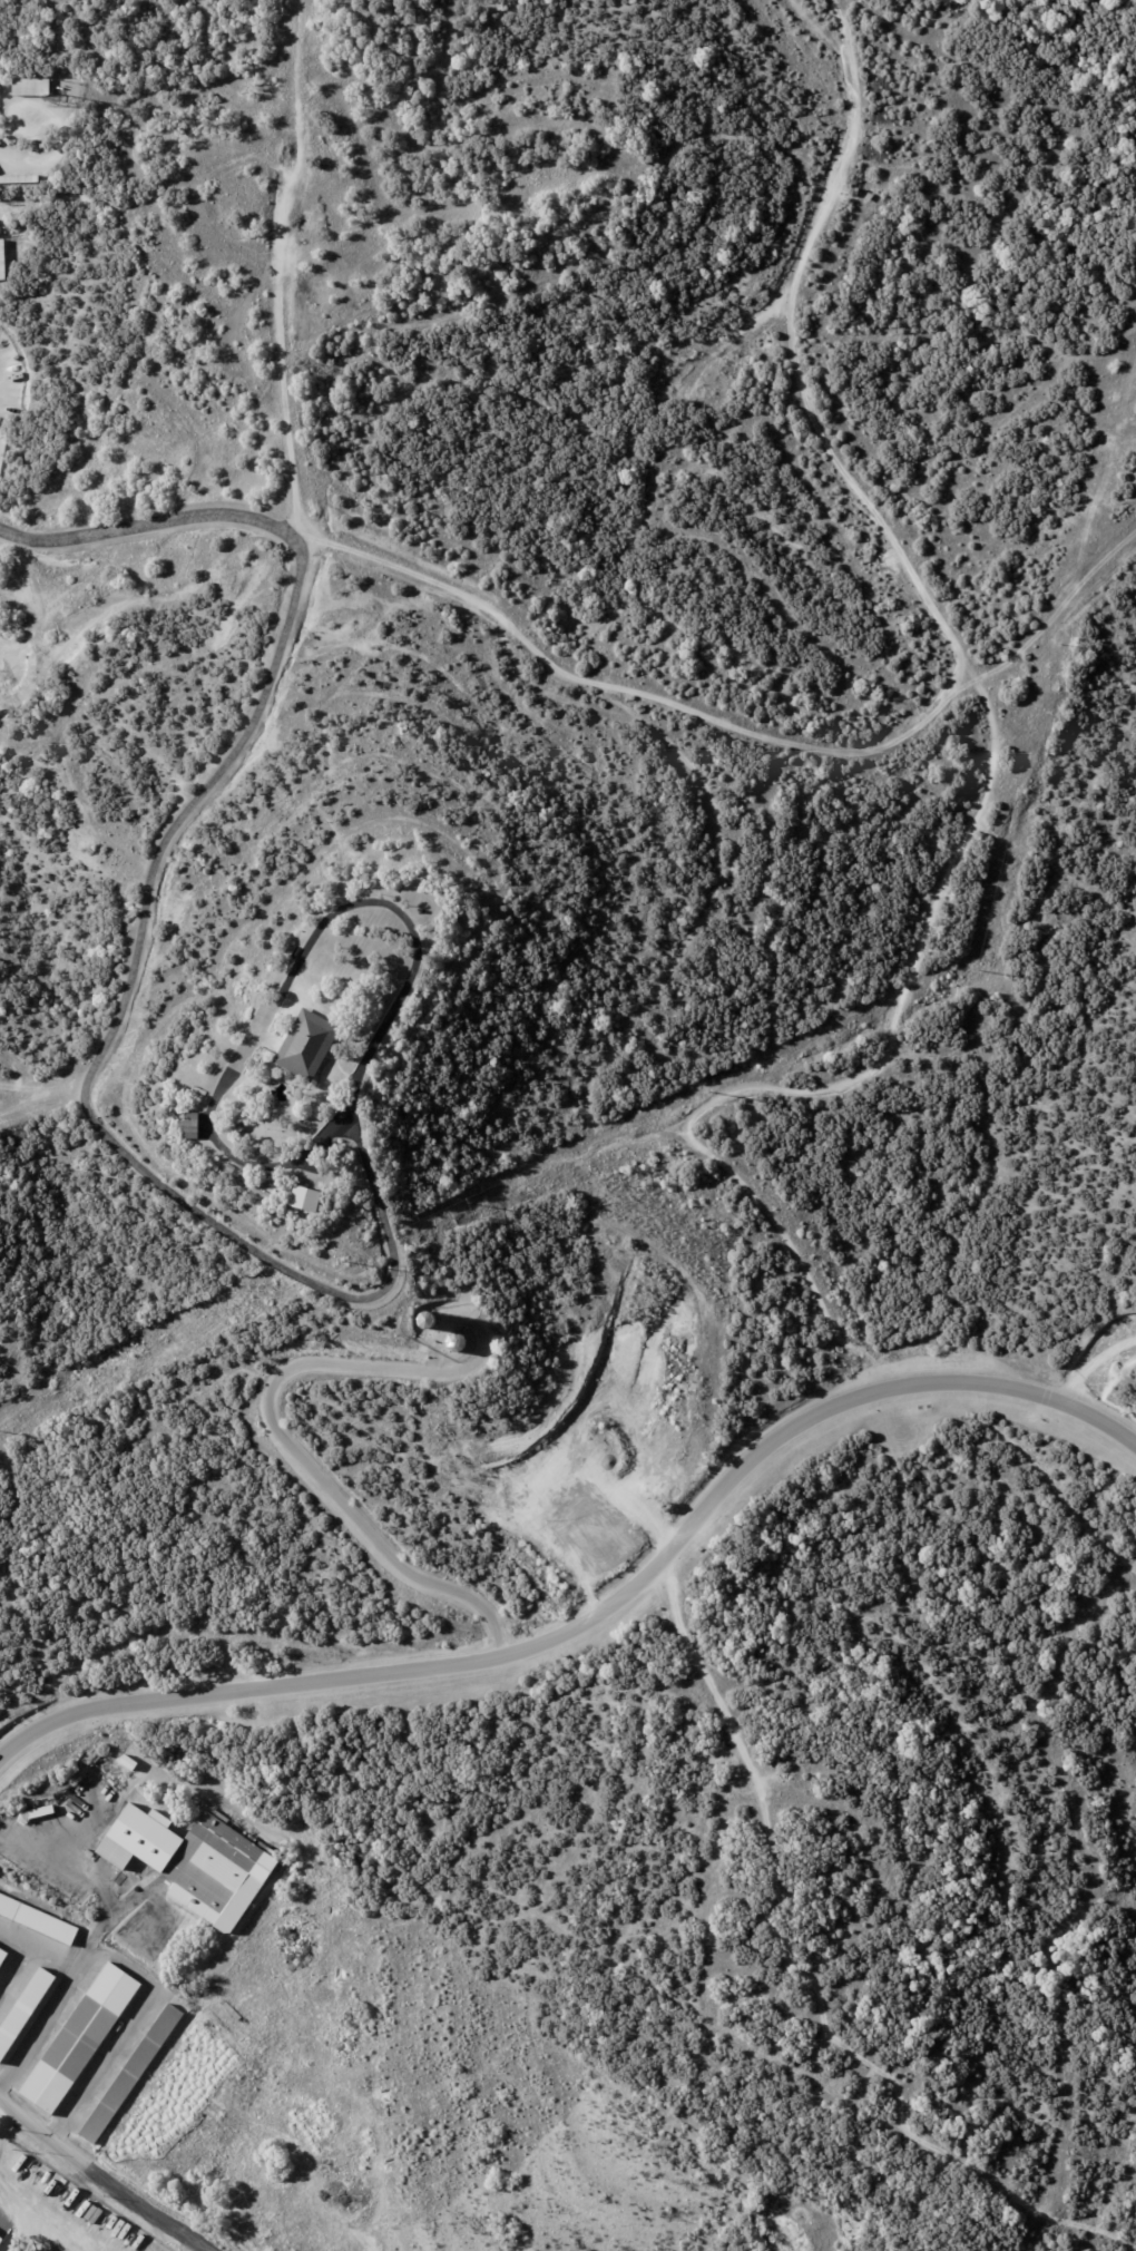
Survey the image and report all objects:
building: (33, 88)
road: (62, 141)
building: (0, 144)
building: (20, 180)
building: (3, 262)
road: (791, 343)
road: (146, 528)
road: (399, 551)
road: (293, 601)
power tower: (1059, 642)
road: (824, 721)
power tower: (977, 969)
road: (291, 970)
building: (311, 1043)
power tower: (711, 1089)
building: (195, 1124)
building: (243, 1126)
building: (232, 1167)
building: (309, 1197)
power tower: (470, 1202)
road: (264, 1257)
power tower: (345, 1260)
road: (1096, 1363)
road: (284, 1432)
road: (603, 1611)
building: (570, 1656)
road: (706, 1658)
building: (696, 1706)
building: (136, 1763)
building: (203, 1861)
building: (38, 1920)
road: (91, 1940)
road: (38, 1948)
building: (3, 1958)
building: (26, 2013)
road: (133, 2028)
building: (82, 2039)
building: (133, 2073)
road: (107, 2173)

